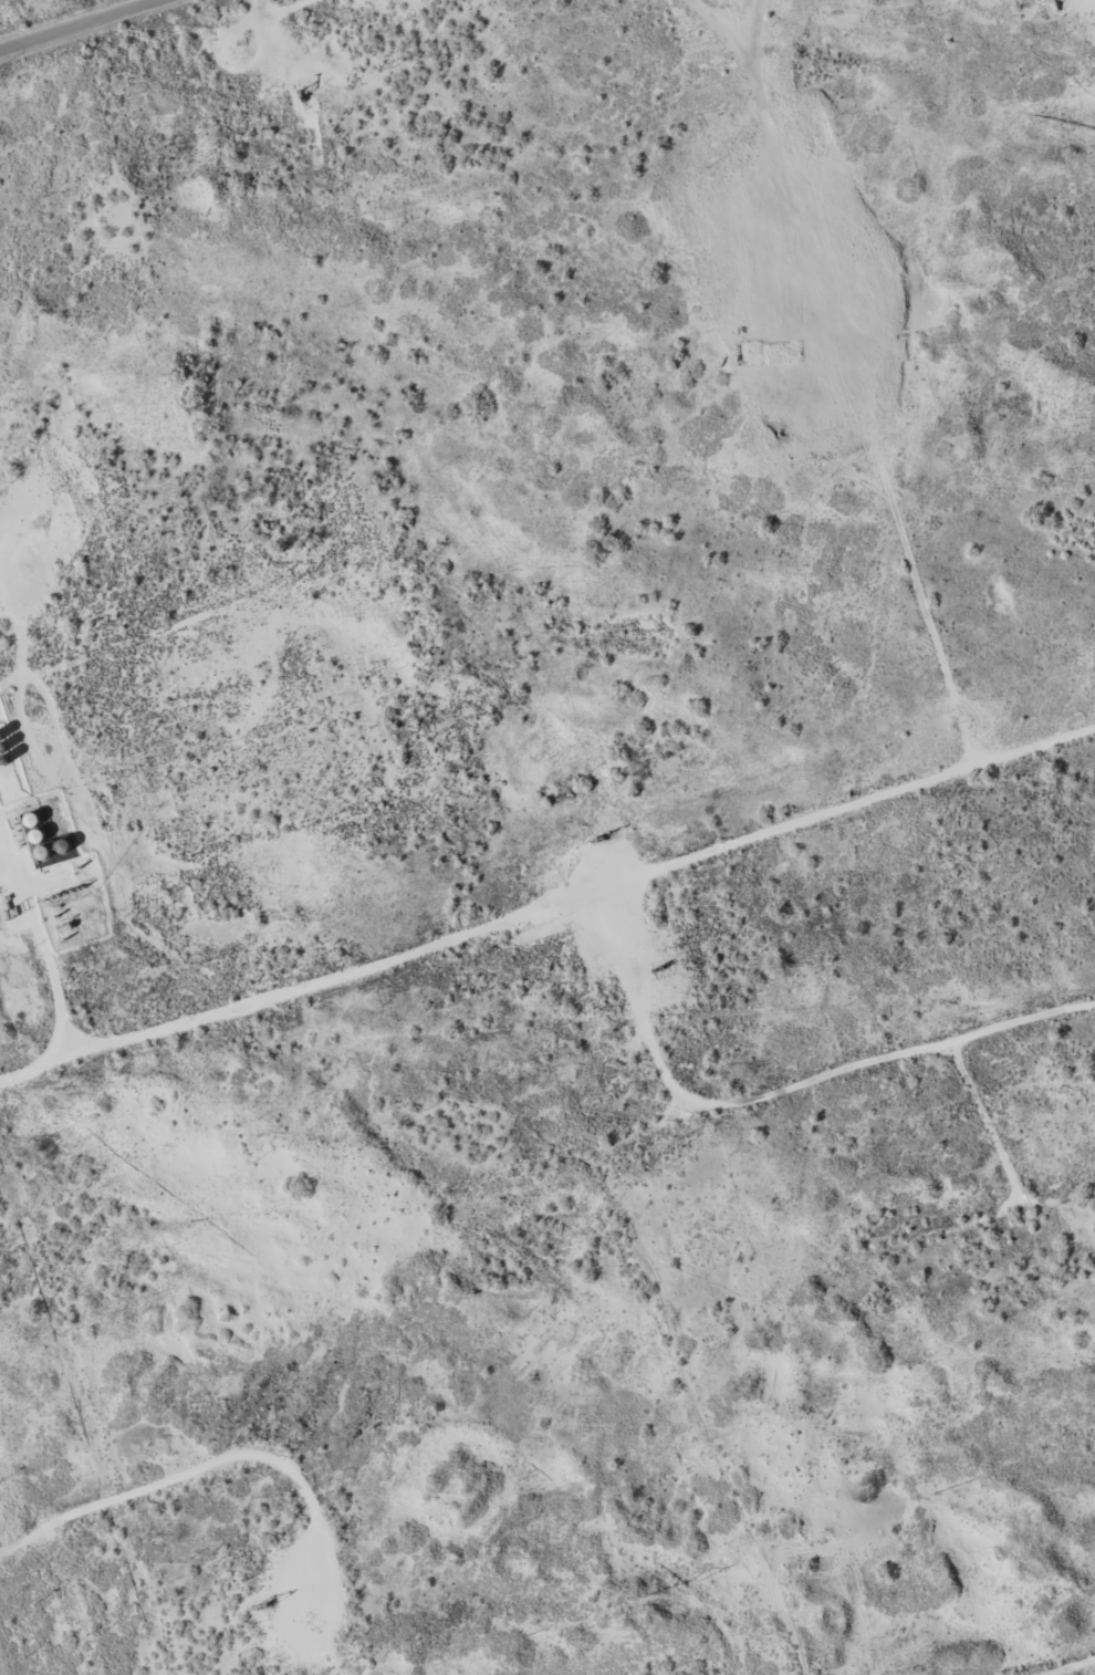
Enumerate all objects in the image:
road: (708, 23)
road: (77, 24)
road: (885, 384)
road: (126, 603)
road: (551, 933)
road: (42, 950)
road: (638, 1037)
road: (480, 1203)
road: (688, 1430)

